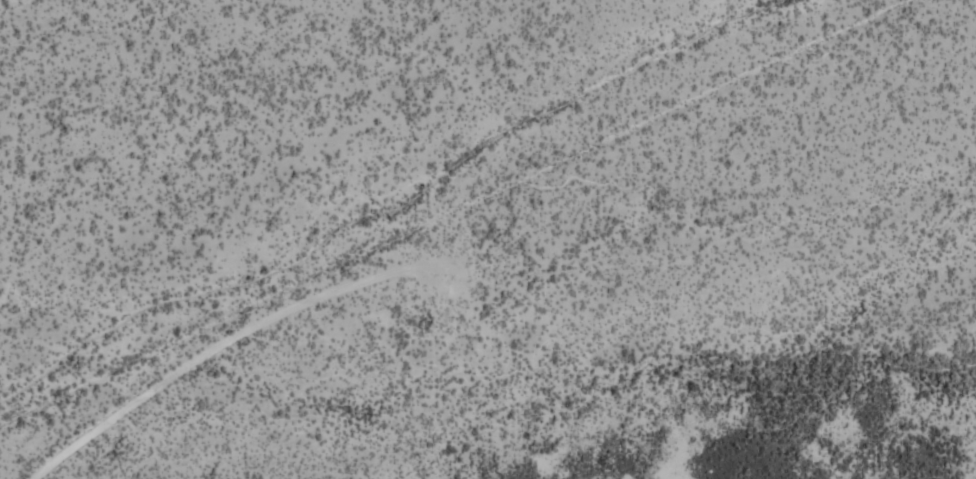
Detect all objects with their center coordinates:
building: (302, 78)
building: (866, 118)

